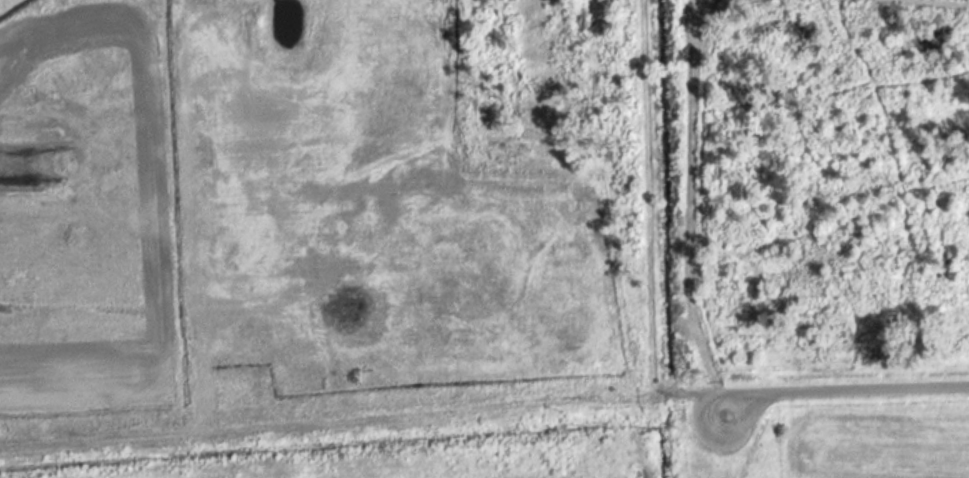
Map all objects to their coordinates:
road: (689, 202)
road: (830, 388)

